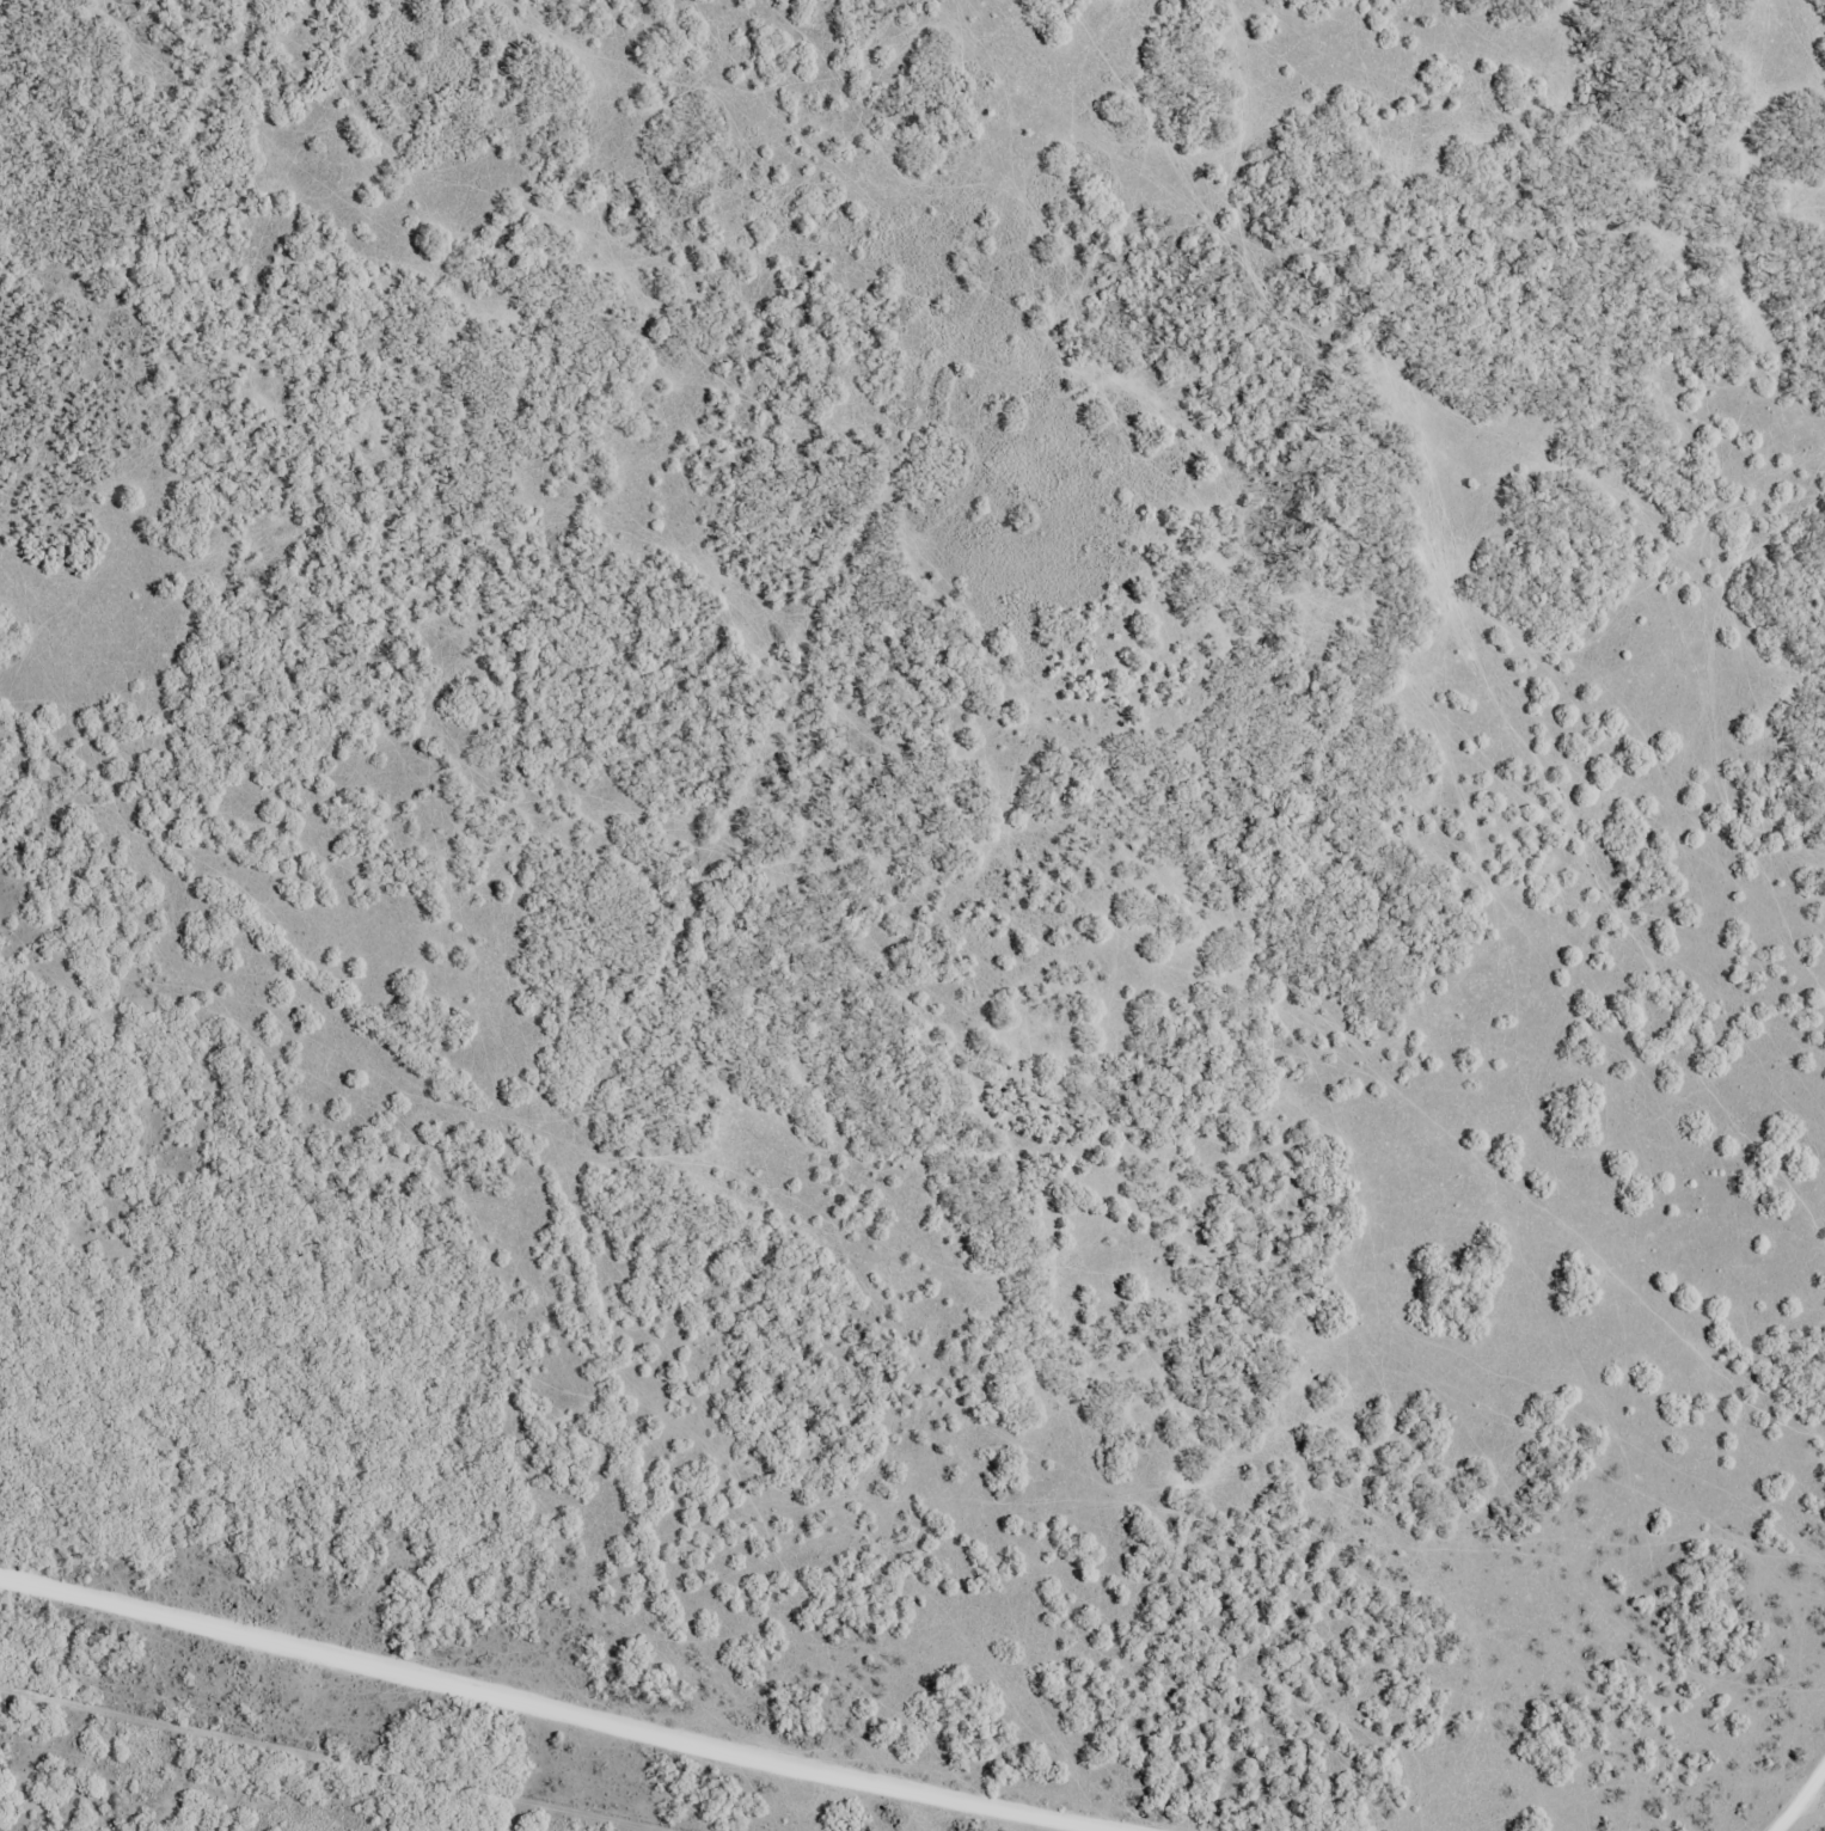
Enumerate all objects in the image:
road: (550, 1697)
road: (917, 1814)
road: (1814, 1820)

